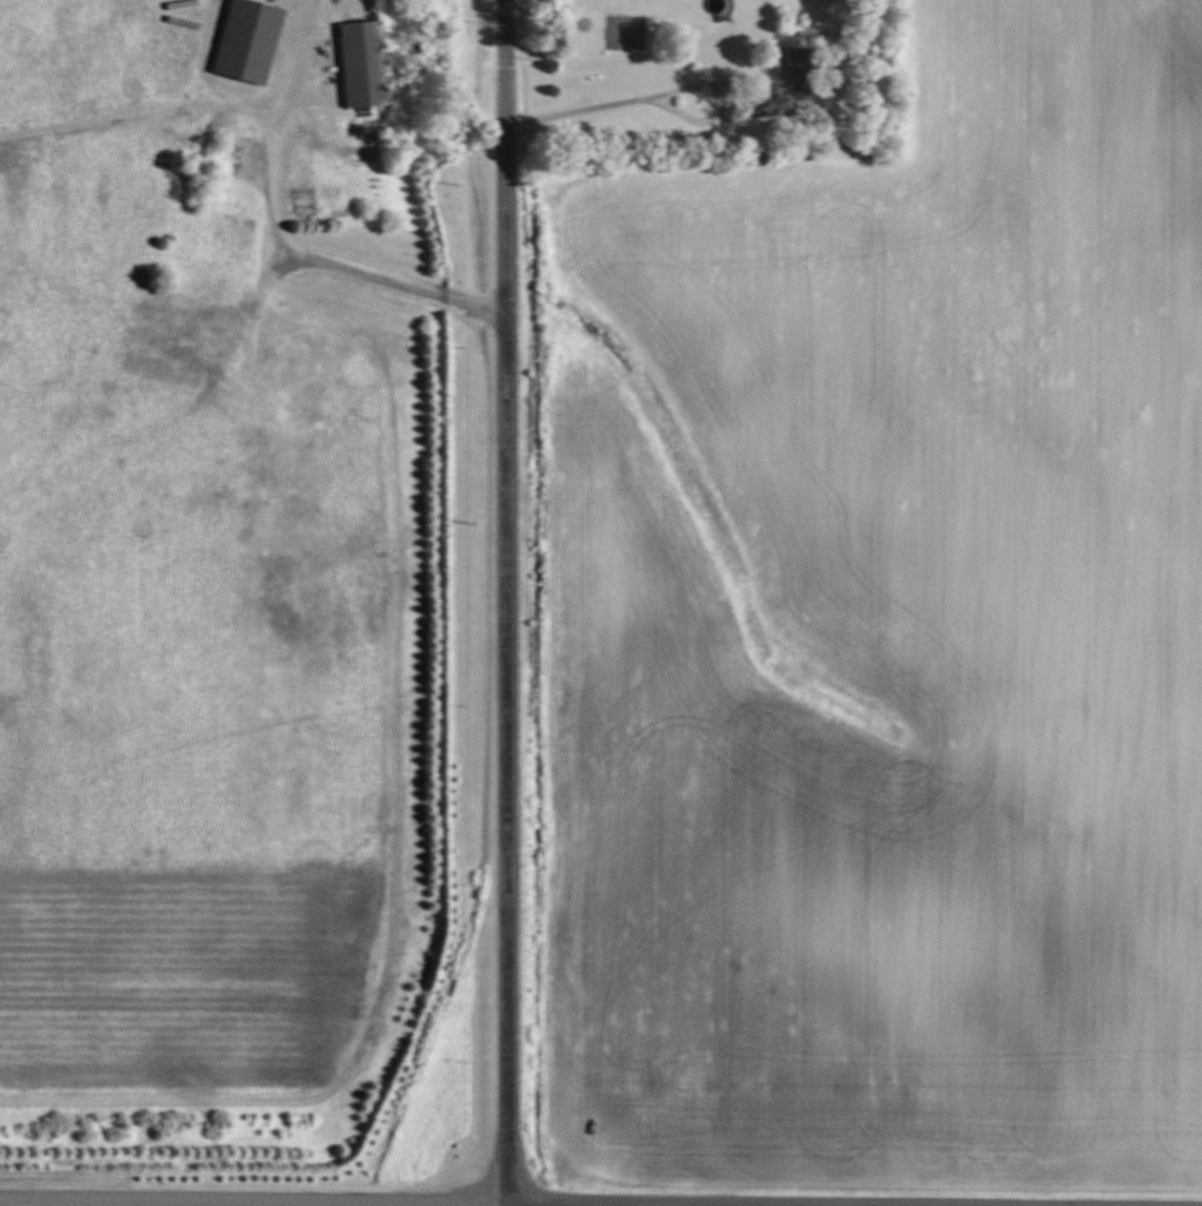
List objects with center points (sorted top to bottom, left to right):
building: (245, 40)
building: (360, 63)
road: (657, 94)
road: (139, 115)
road: (282, 230)
road: (503, 602)
road: (520, 1200)

